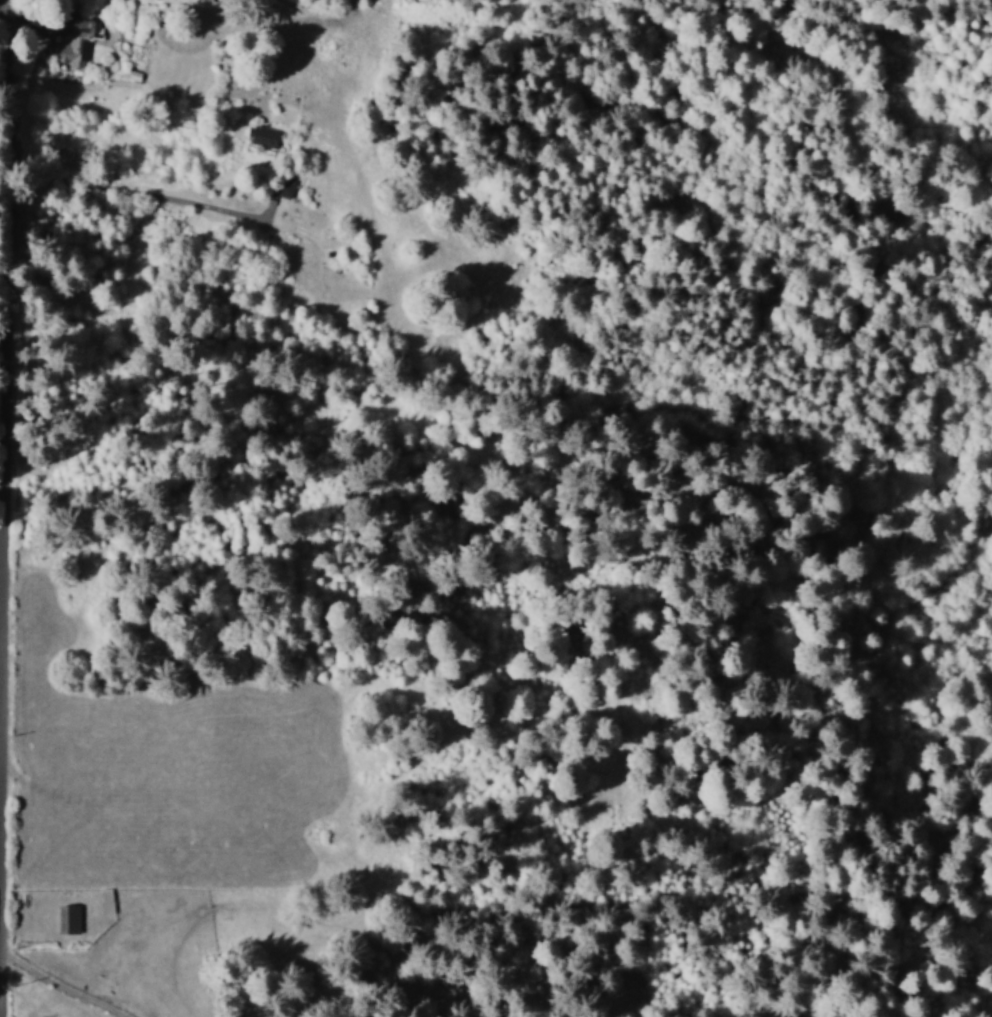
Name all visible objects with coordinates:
road: (1, 0)
building: (184, 0)
road: (1, 14)
building: (75, 44)
building: (264, 135)
road: (6, 165)
road: (130, 174)
building: (68, 917)
road: (60, 985)

